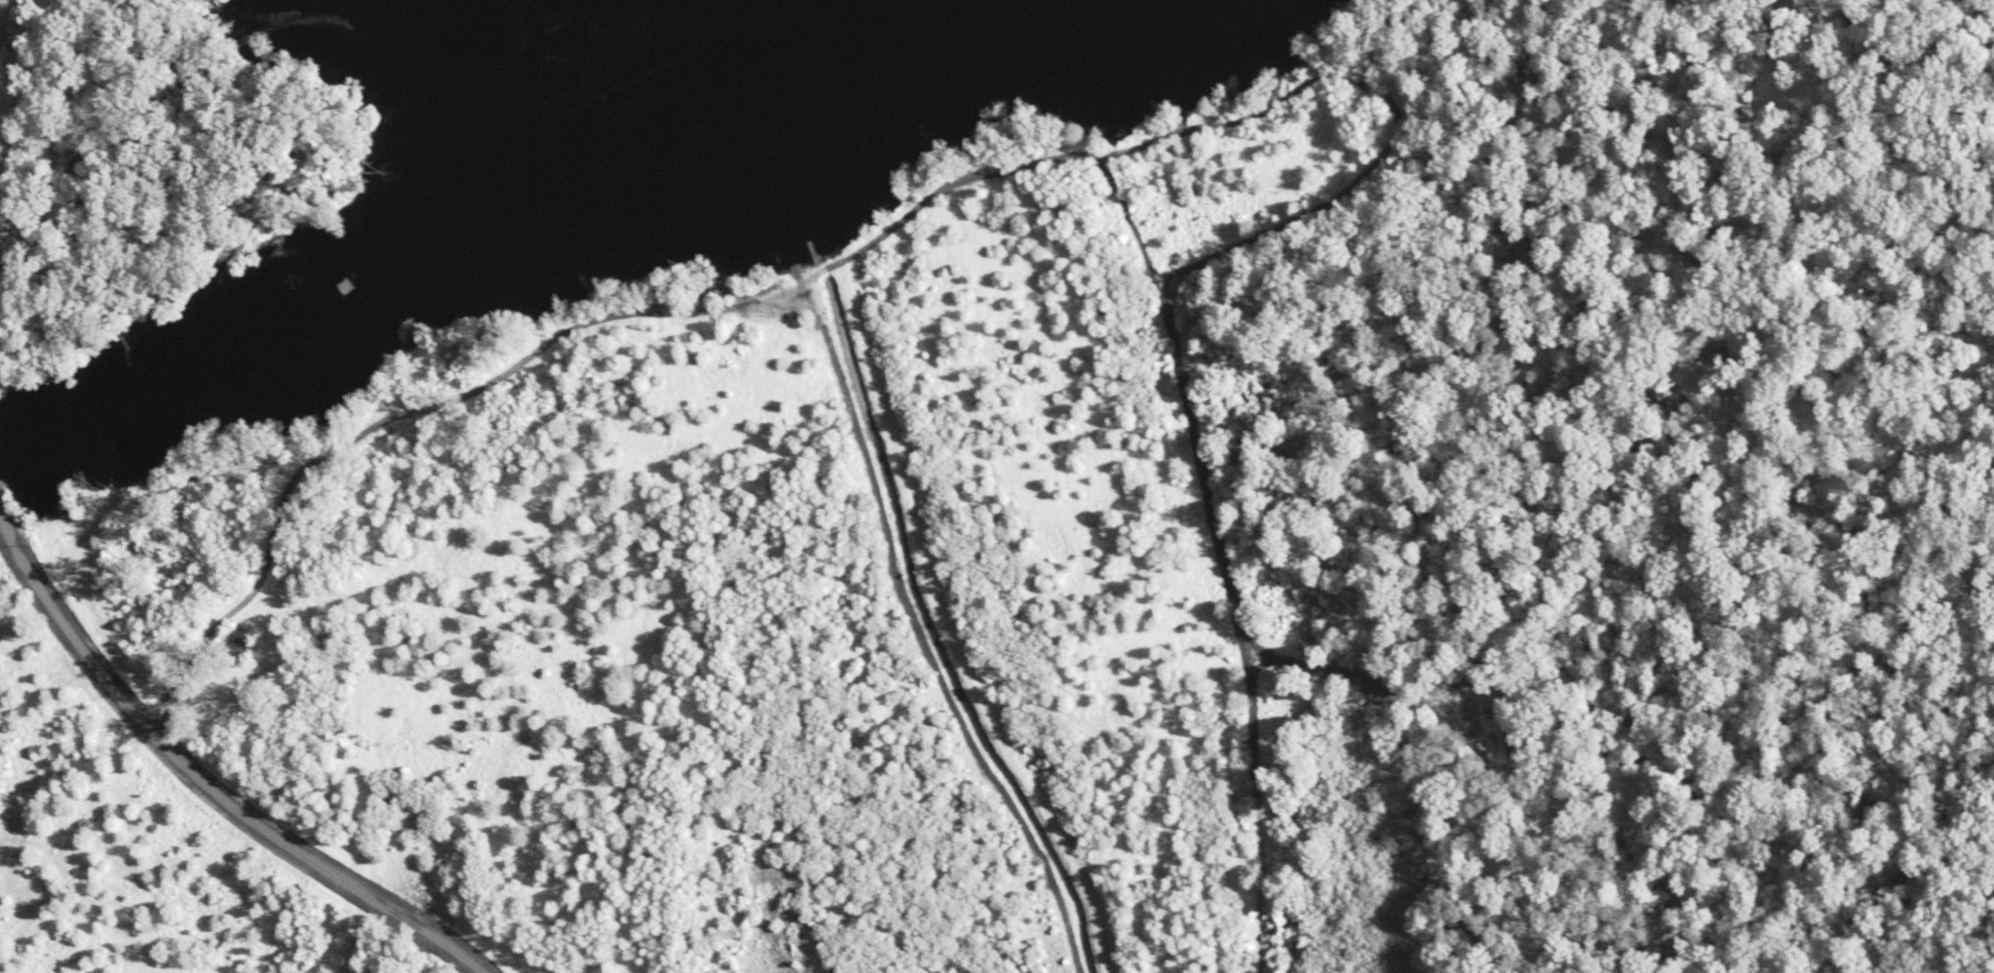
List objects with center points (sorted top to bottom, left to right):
road: (652, 313)
road: (452, 558)
road: (200, 782)

